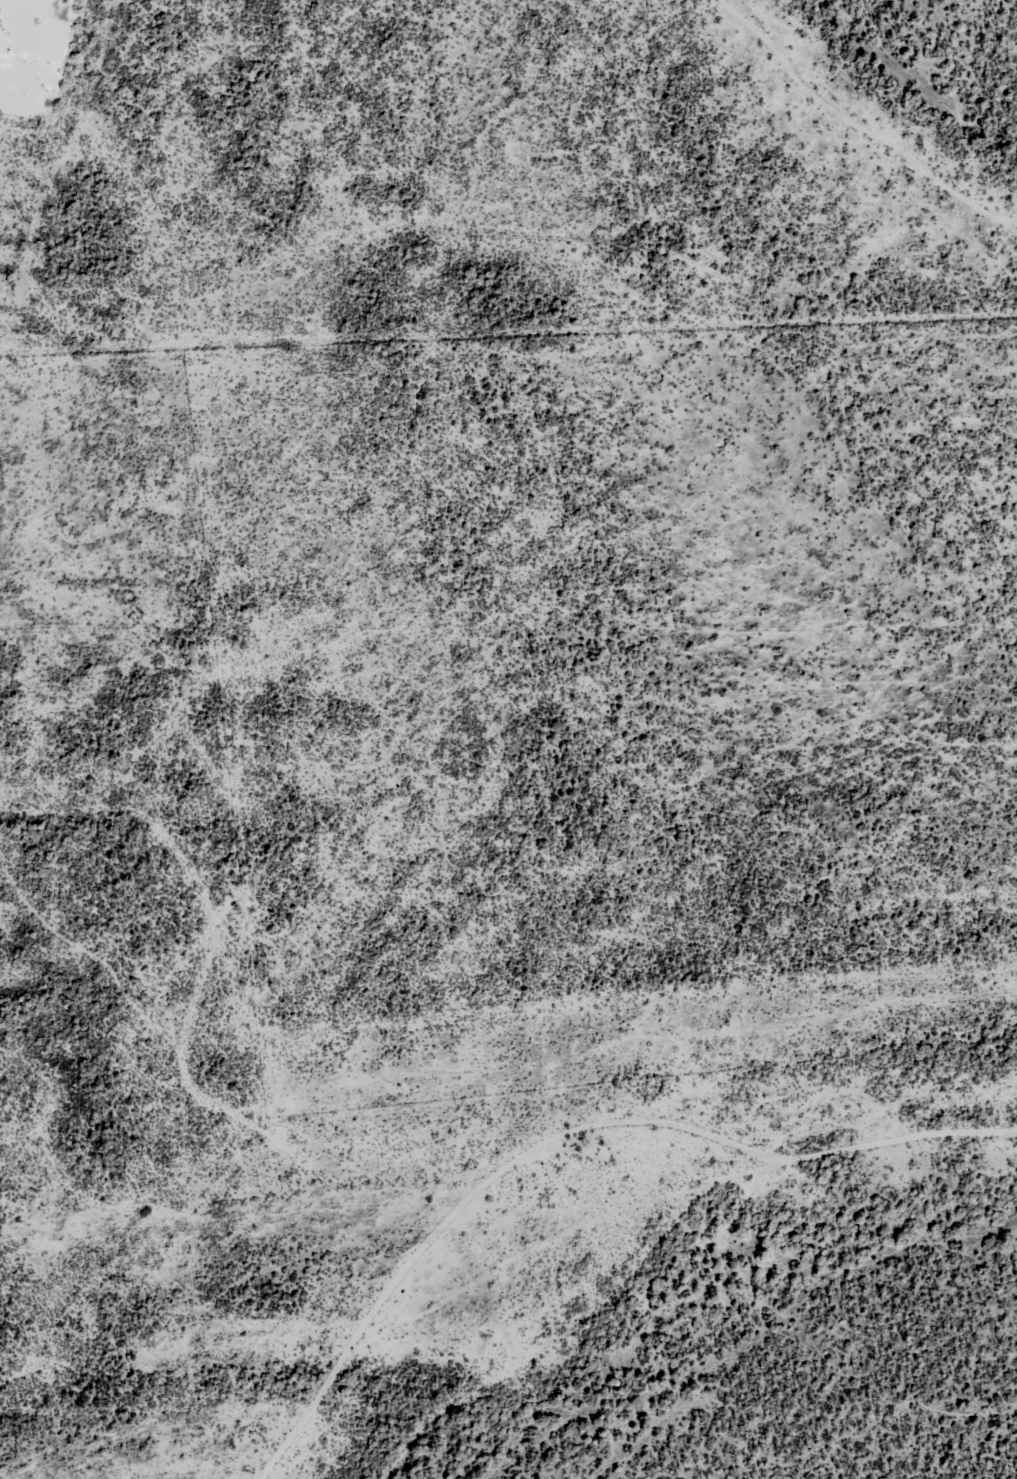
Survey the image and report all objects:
airport runway: (659, 1024)
road: (676, 1234)

